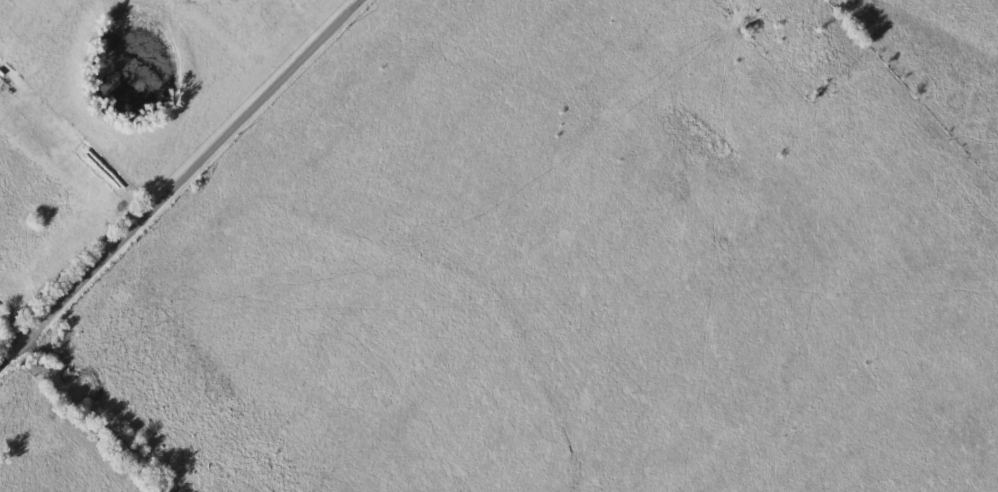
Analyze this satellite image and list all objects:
road: (260, 94)
road: (86, 278)

